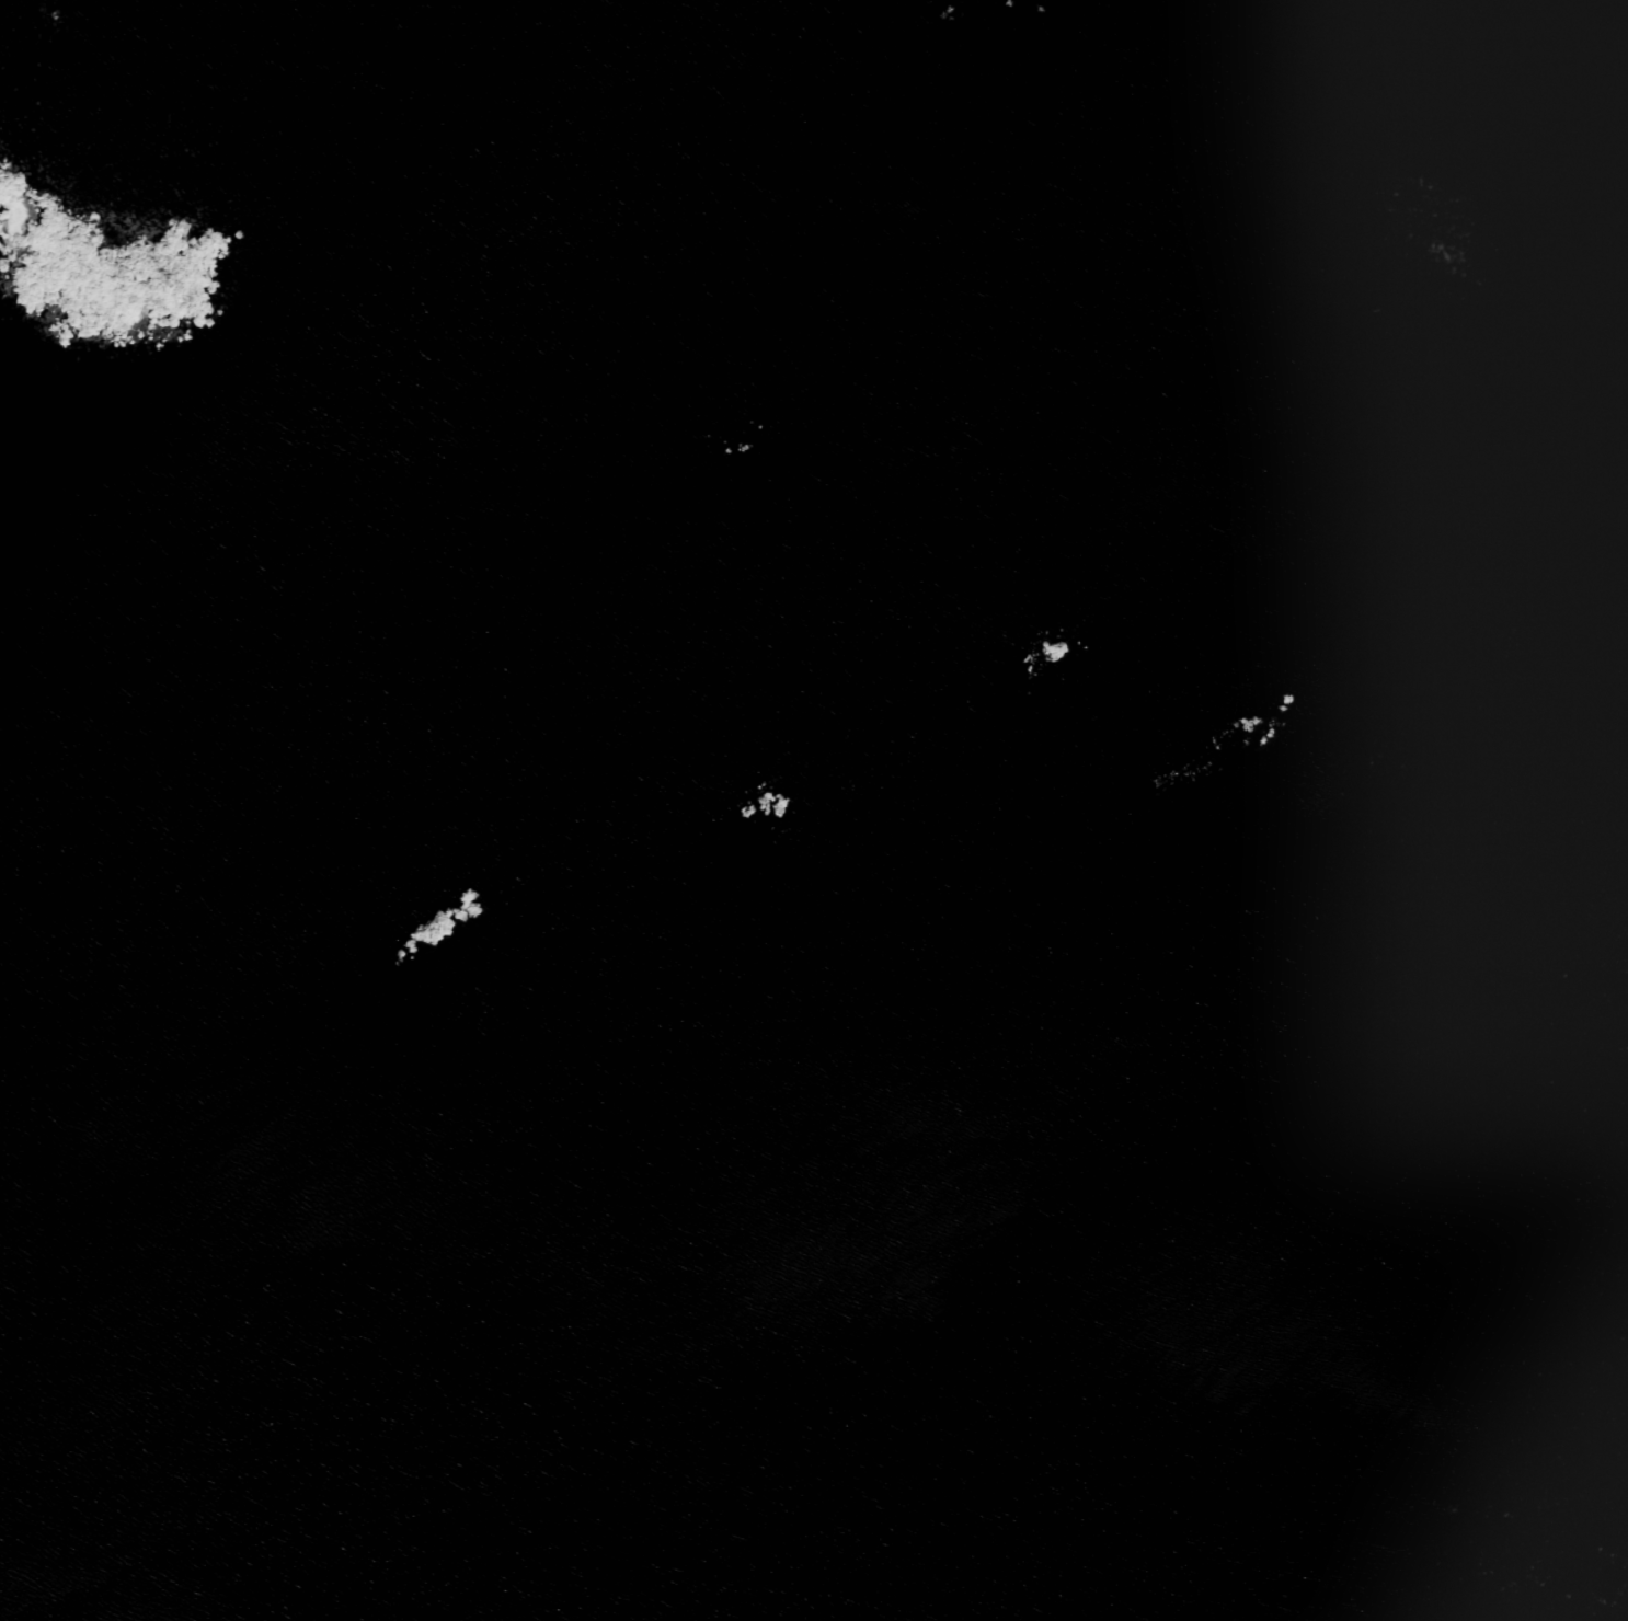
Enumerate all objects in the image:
river: (298, 1409)

